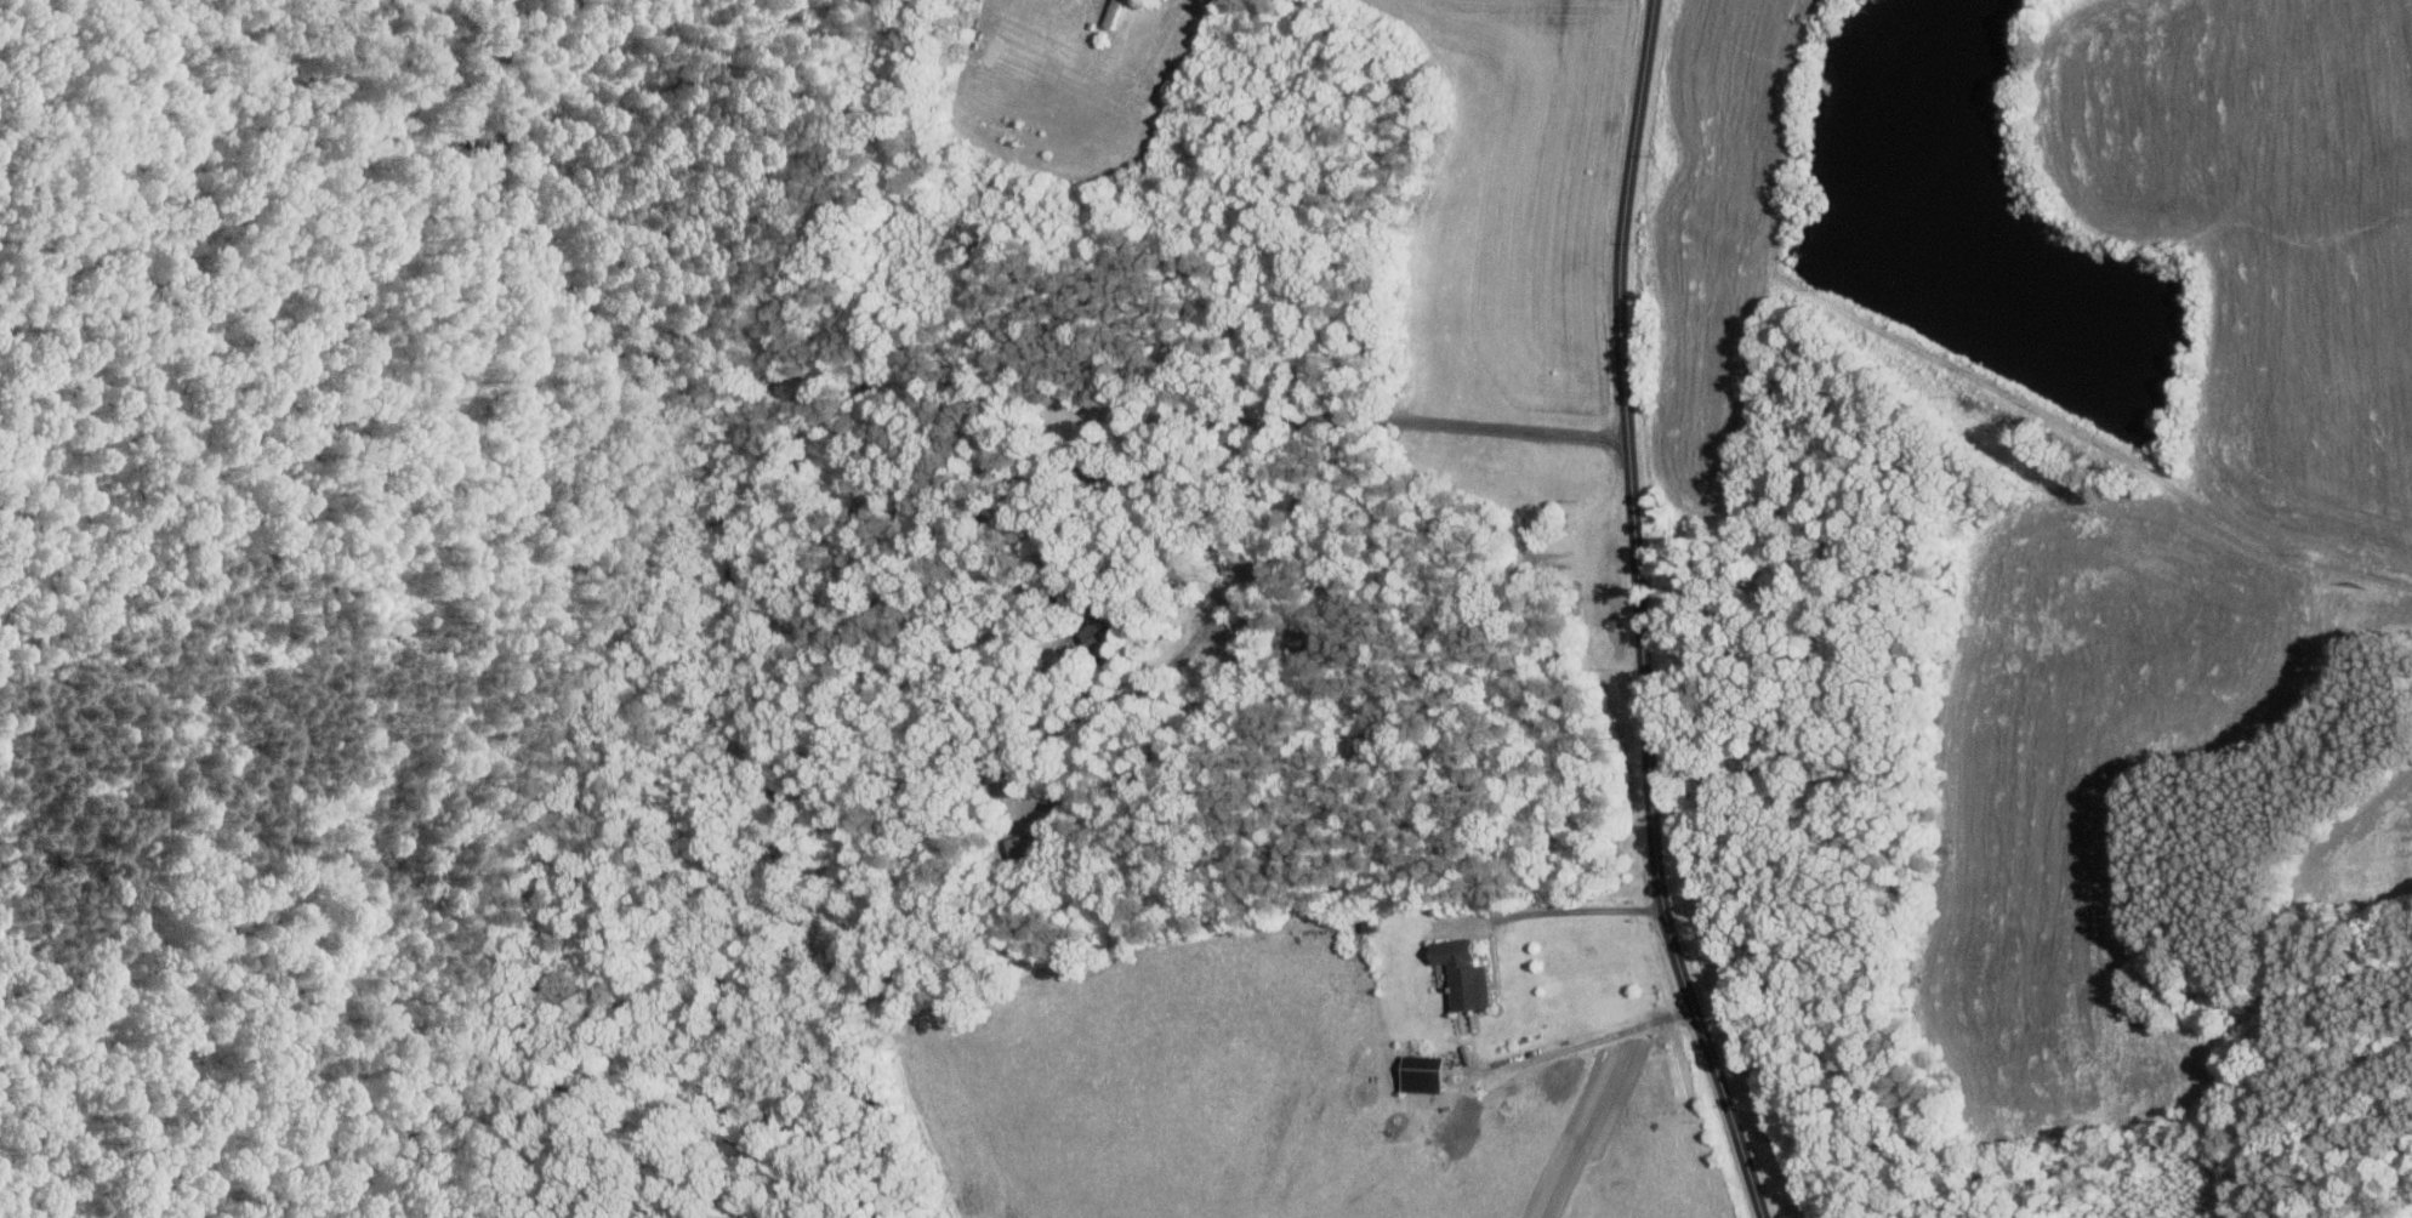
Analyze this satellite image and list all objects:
road: (1309, 421)
road: (2368, 579)
building: (2334, 605)
road: (1639, 615)
building: (1103, 627)
road: (1574, 907)
building: (1464, 973)
road: (1586, 1042)
building: (1423, 1072)

